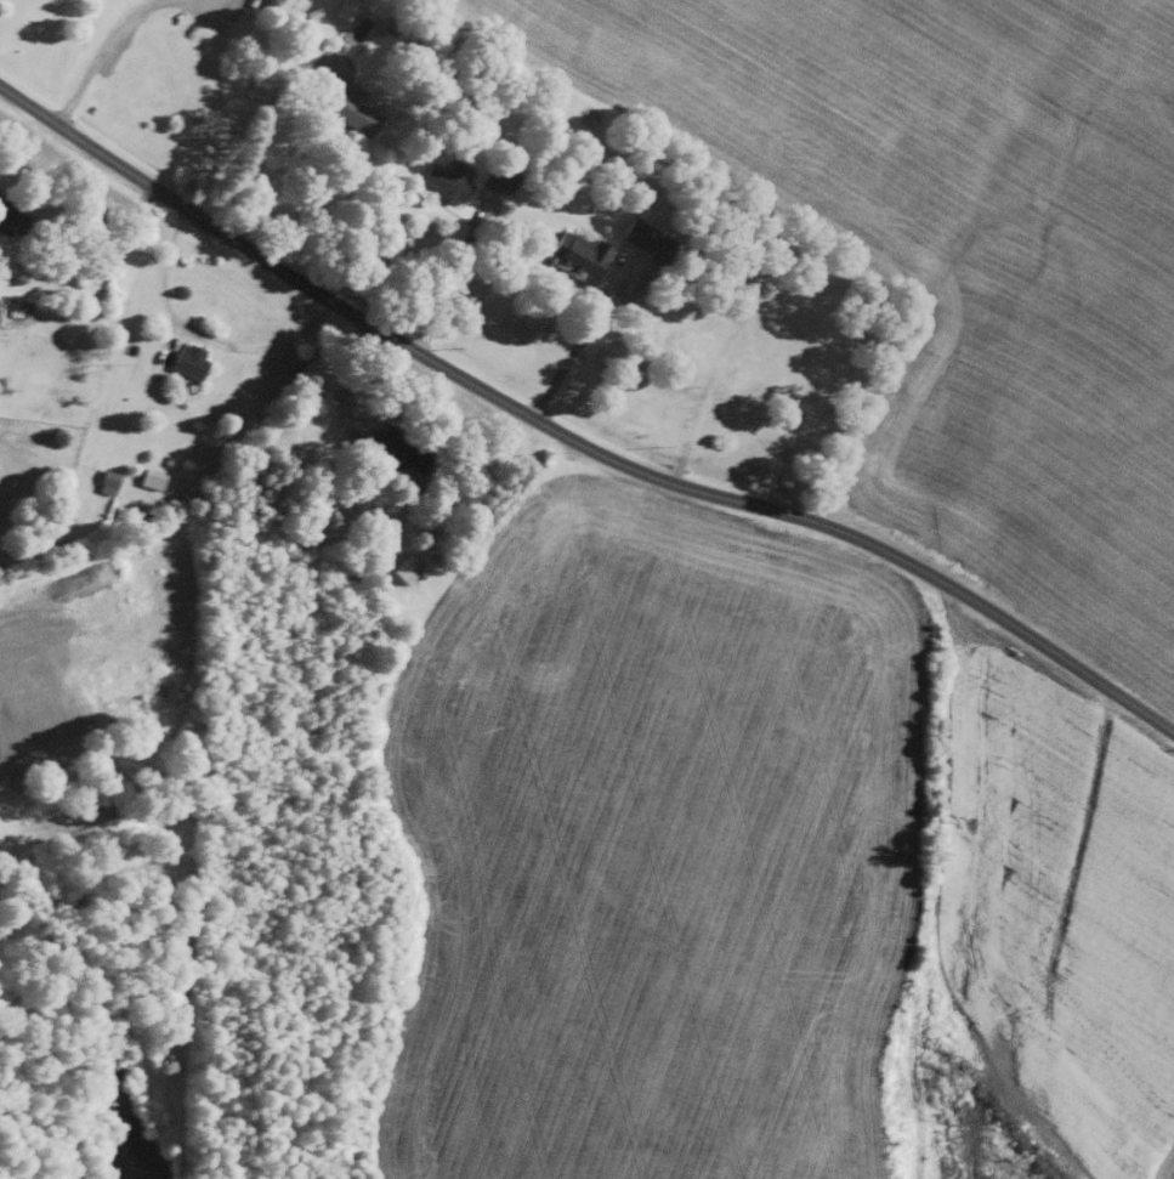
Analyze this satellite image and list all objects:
building: (342, 8)
road: (98, 56)
building: (344, 103)
road: (253, 143)
building: (442, 180)
building: (493, 182)
building: (4, 212)
building: (641, 236)
building: (573, 251)
road: (91, 259)
road: (450, 278)
road: (381, 330)
road: (578, 346)
building: (186, 358)
building: (149, 478)
building: (403, 566)
road: (989, 612)

